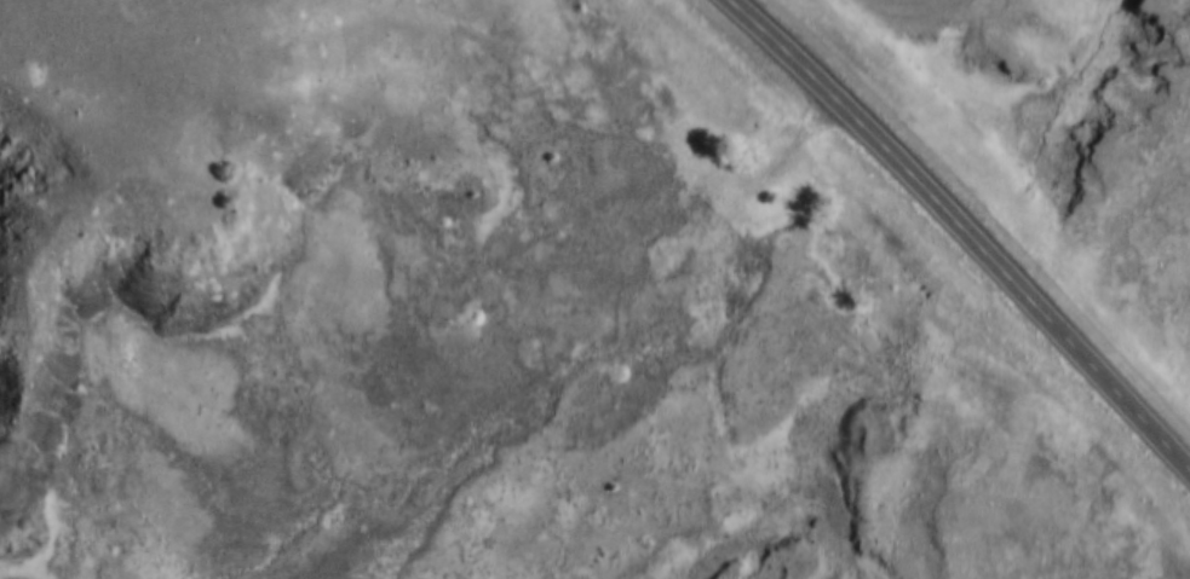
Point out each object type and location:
road: (961, 227)

